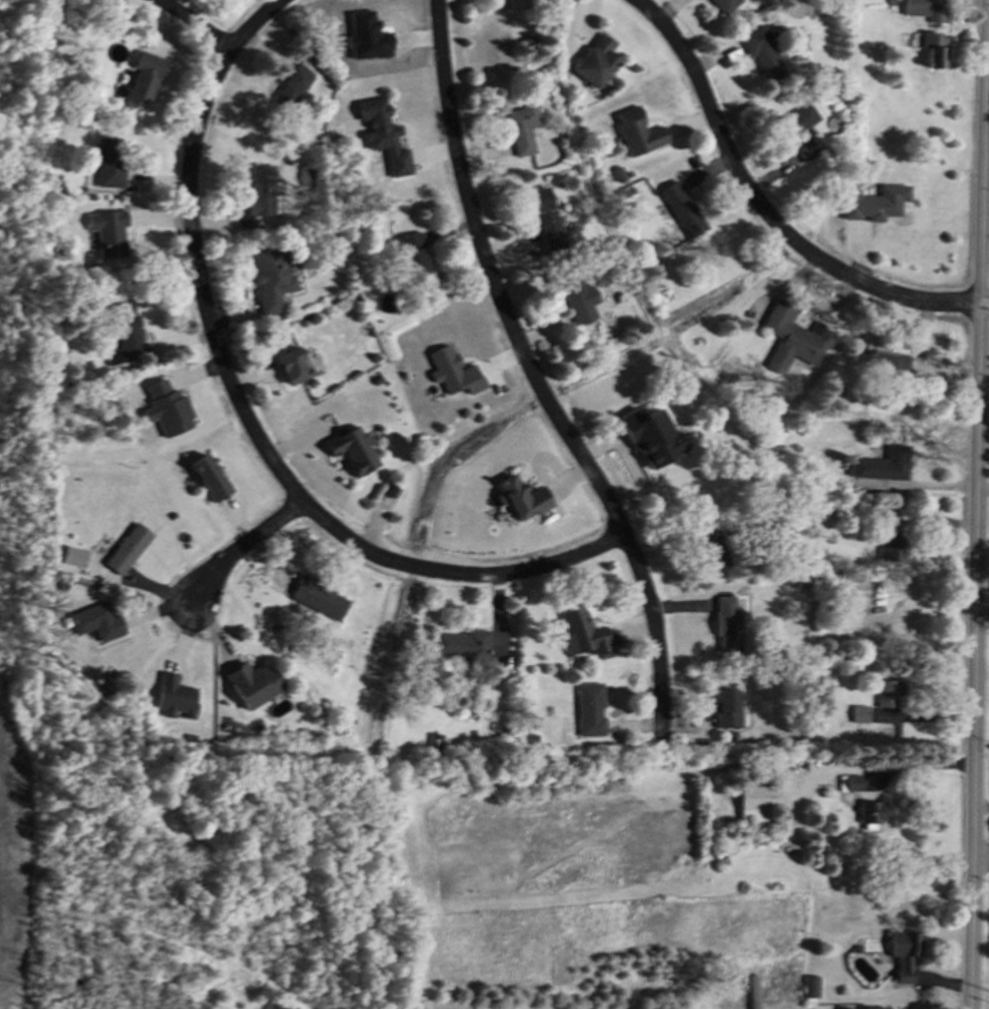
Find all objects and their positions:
building: (723, 5)
building: (914, 7)
building: (935, 13)
road: (195, 24)
building: (365, 36)
building: (933, 48)
building: (761, 51)
building: (595, 61)
building: (142, 77)
building: (291, 85)
building: (521, 127)
building: (799, 129)
building: (636, 132)
building: (382, 134)
road: (987, 141)
building: (108, 161)
building: (260, 189)
building: (874, 202)
building: (680, 208)
road: (763, 209)
building: (545, 217)
building: (107, 232)
building: (410, 252)
building: (270, 279)
road: (985, 293)
building: (579, 299)
building: (124, 333)
building: (792, 337)
building: (887, 361)
building: (292, 365)
building: (452, 371)
road: (534, 376)
building: (166, 407)
road: (245, 414)
building: (651, 436)
building: (352, 449)
building: (880, 464)
building: (209, 477)
building: (520, 497)
road: (977, 504)
building: (891, 544)
building: (127, 548)
road: (240, 548)
building: (73, 555)
building: (318, 597)
building: (96, 620)
building: (727, 623)
building: (581, 632)
building: (463, 644)
building: (252, 683)
building: (886, 691)
building: (174, 696)
building: (725, 707)
building: (589, 708)
building: (857, 713)
road: (917, 765)
building: (847, 781)
building: (754, 801)
building: (867, 812)
crop: (16, 848)
road: (979, 858)
building: (901, 952)
building: (808, 986)
building: (842, 1008)
building: (875, 1008)

